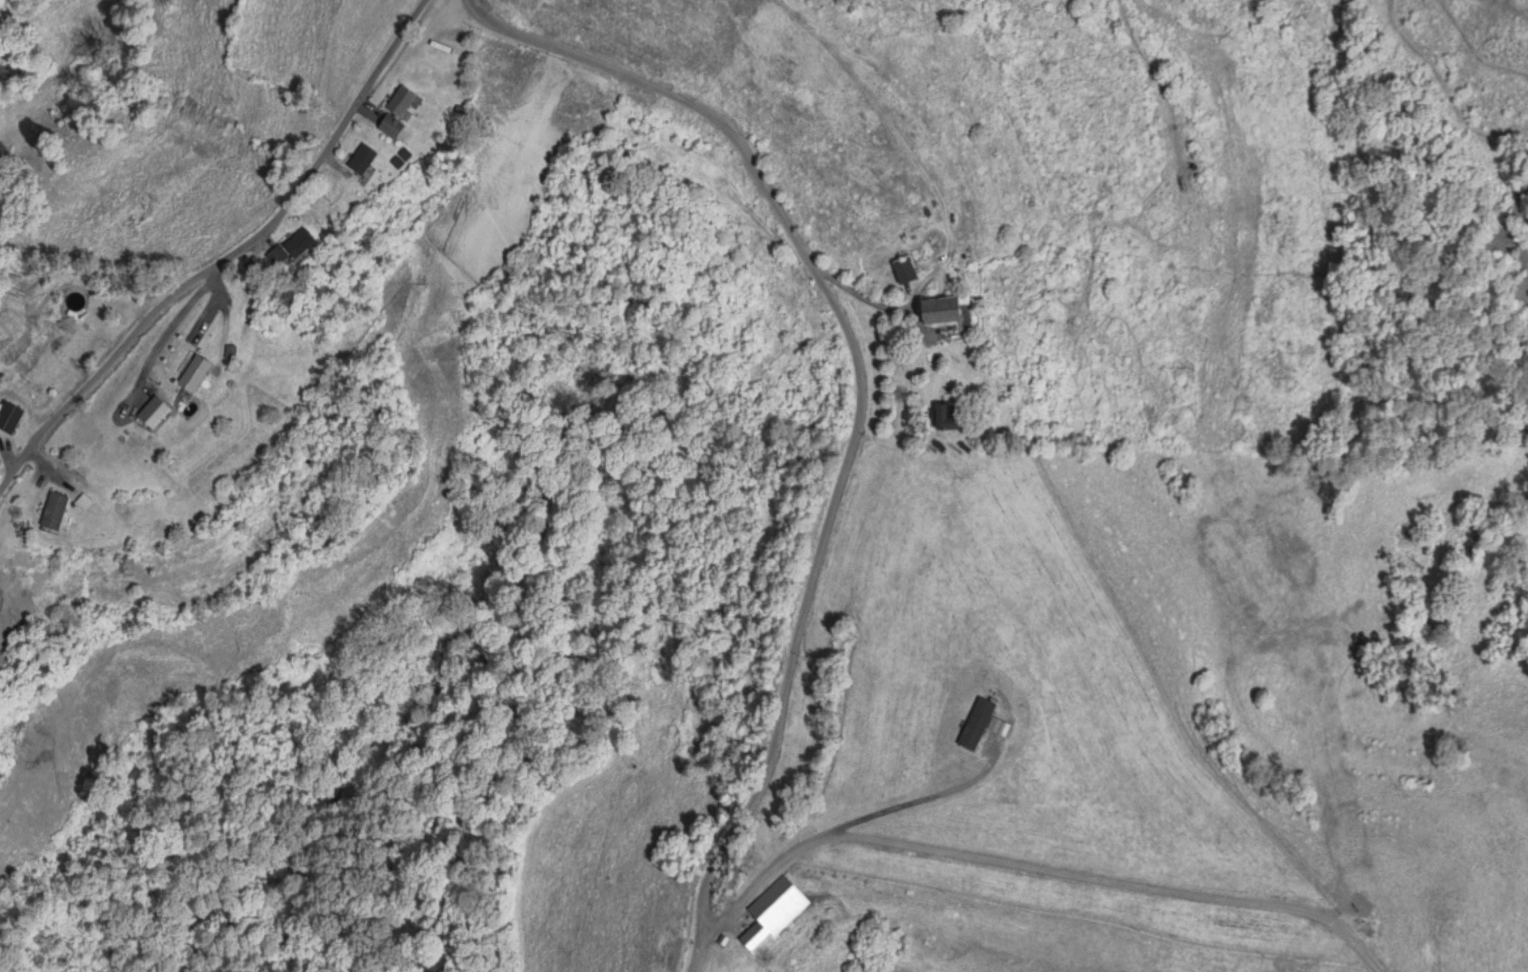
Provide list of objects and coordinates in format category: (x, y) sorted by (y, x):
building: (398, 102)
building: (388, 127)
building: (359, 160)
building: (291, 247)
road: (232, 252)
building: (902, 272)
building: (938, 311)
building: (191, 375)
road: (856, 402)
building: (945, 417)
building: (9, 419)
building: (52, 512)
building: (975, 726)
road: (1025, 868)

